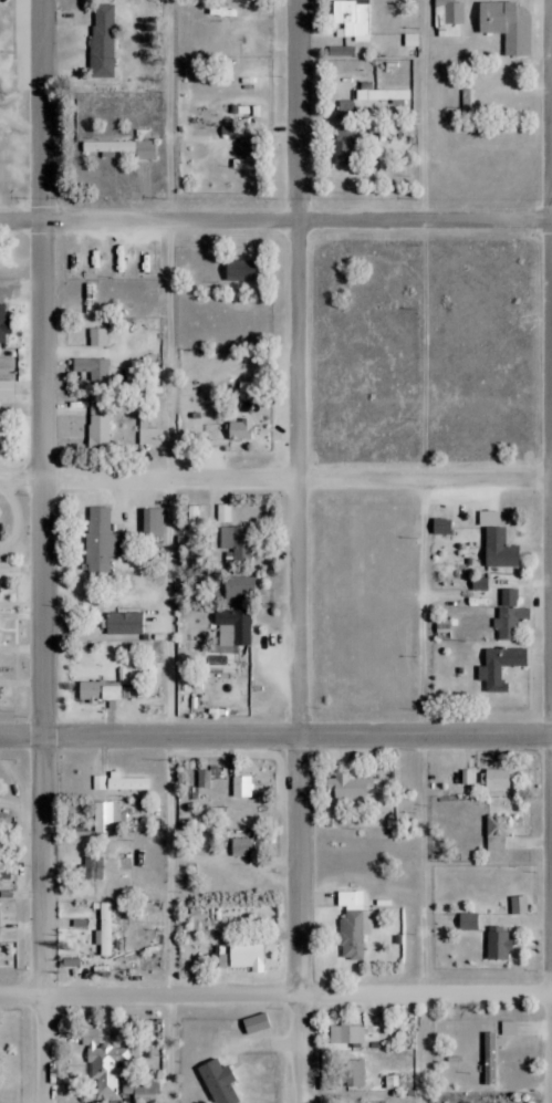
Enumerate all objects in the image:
building: (351, 19)
building: (448, 19)
building: (506, 27)
building: (101, 40)
building: (340, 52)
building: (382, 94)
road: (423, 110)
road: (171, 111)
building: (244, 147)
building: (342, 147)
building: (122, 148)
road: (275, 223)
building: (239, 271)
building: (88, 299)
building: (1, 324)
building: (95, 337)
building: (6, 388)
building: (98, 425)
building: (238, 429)
building: (147, 431)
road: (217, 447)
road: (275, 479)
road: (170, 480)
building: (222, 513)
building: (150, 522)
building: (440, 527)
building: (98, 540)
building: (236, 545)
building: (498, 549)
road: (42, 551)
road: (300, 551)
building: (236, 590)
building: (507, 596)
building: (509, 623)
building: (232, 627)
road: (425, 660)
building: (500, 667)
building: (112, 688)
road: (275, 735)
building: (204, 779)
building: (496, 779)
building: (241, 787)
building: (346, 787)
building: (3, 813)
building: (101, 818)
building: (238, 821)
building: (497, 833)
building: (240, 846)
building: (93, 867)
building: (4, 873)
building: (351, 927)
building: (104, 930)
building: (497, 946)
building: (244, 956)
road: (275, 995)
building: (353, 1034)
building: (101, 1064)
building: (218, 1068)
building: (351, 1073)
building: (485, 1102)

